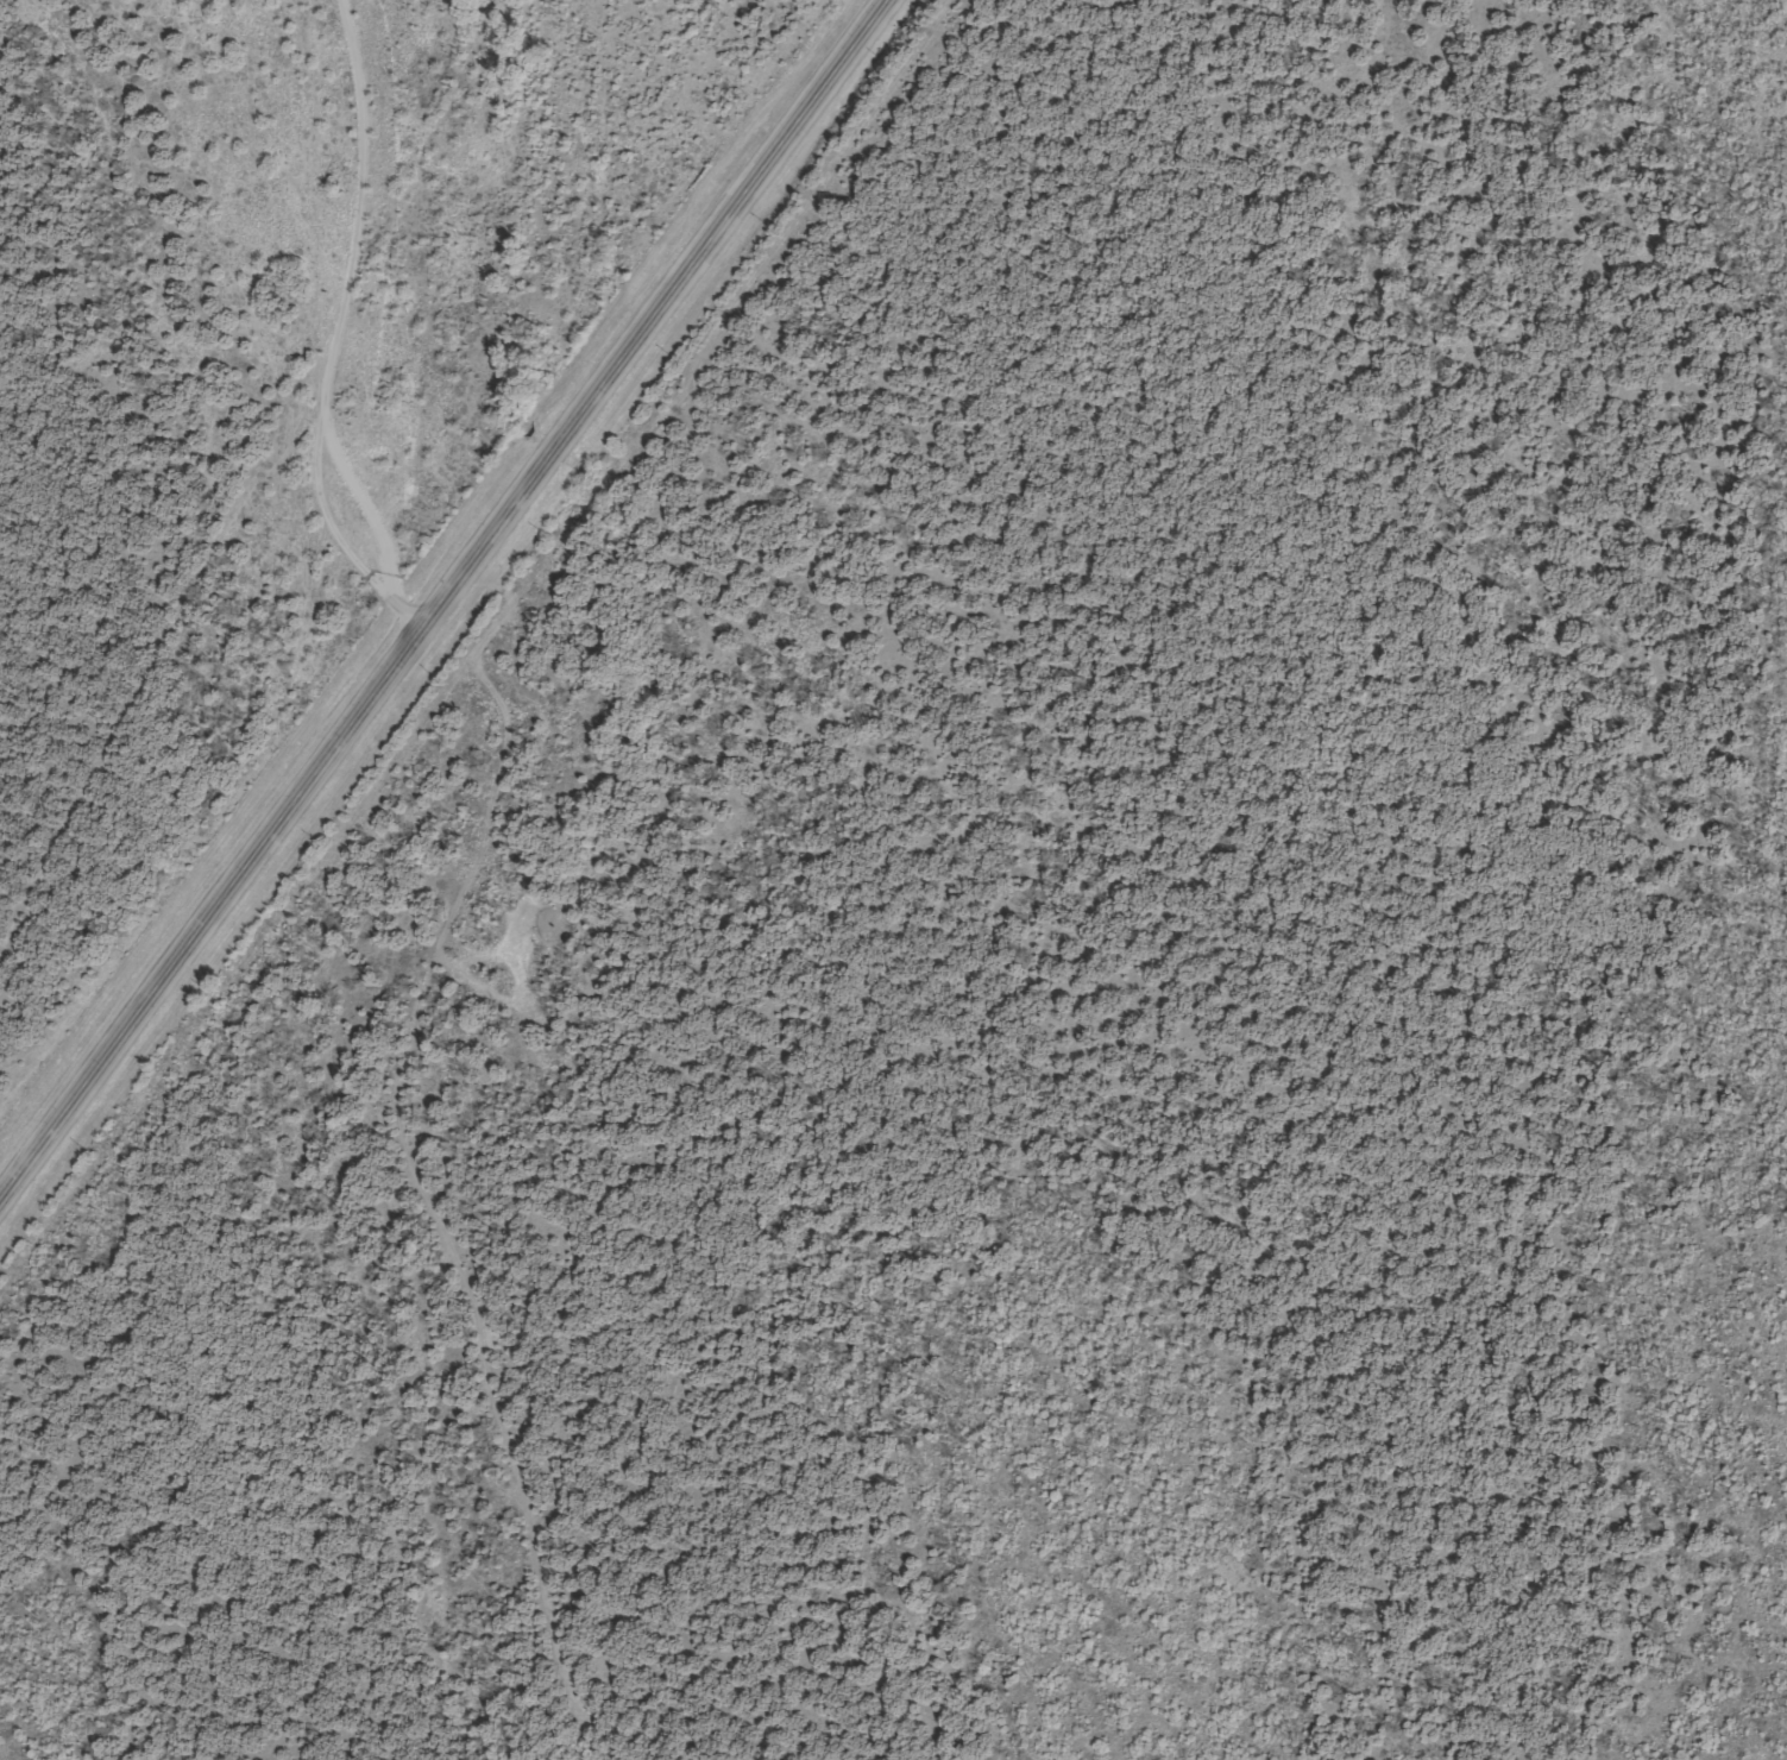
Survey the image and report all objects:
road: (341, 326)
road: (440, 598)

